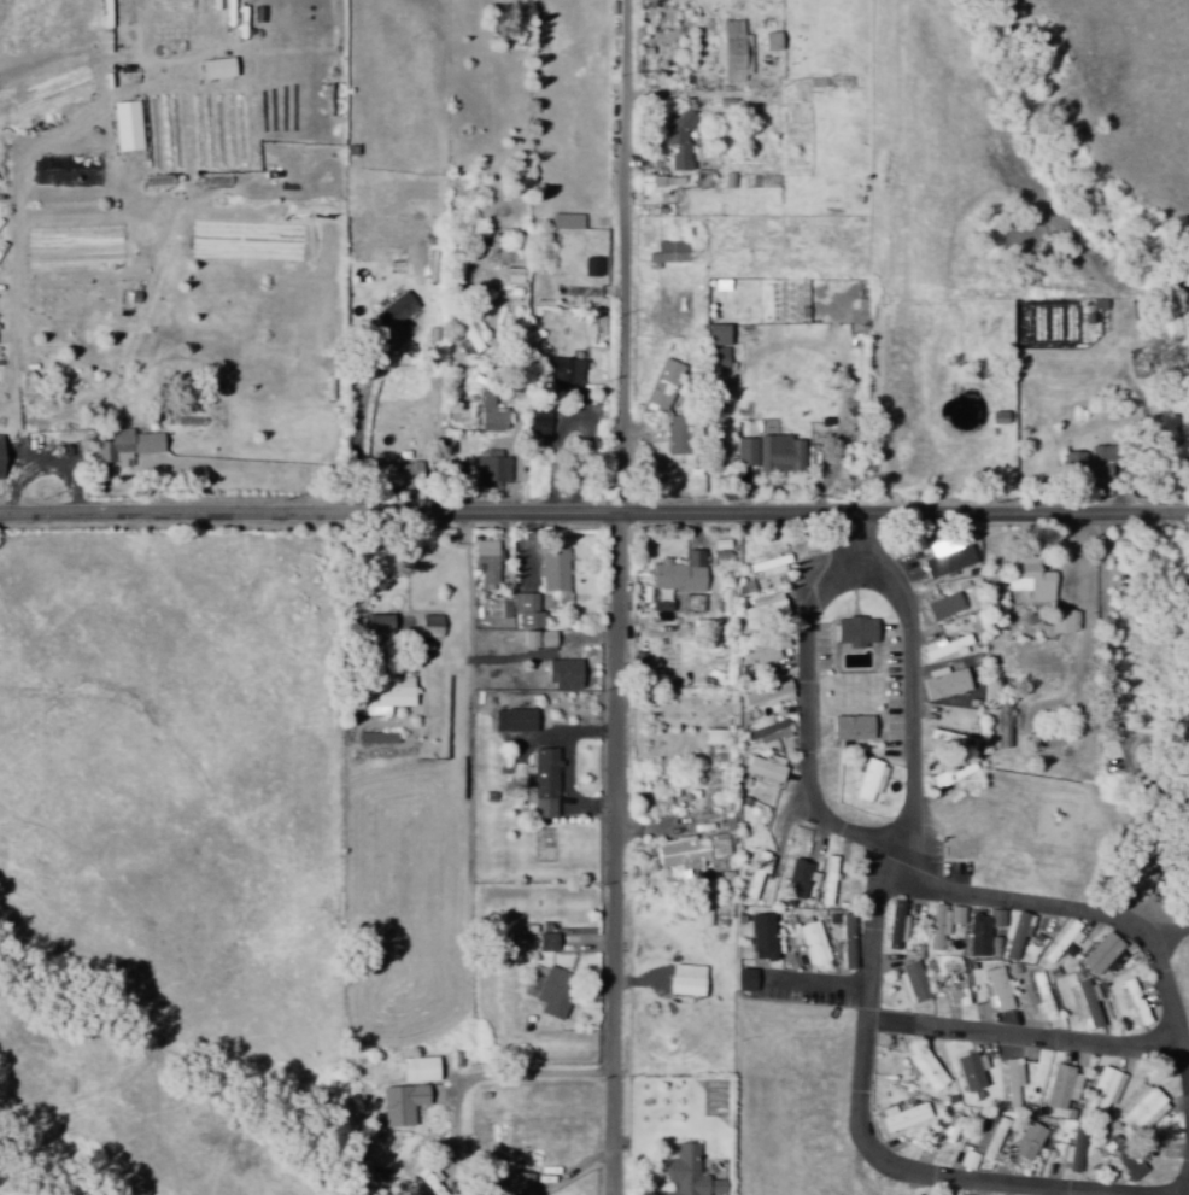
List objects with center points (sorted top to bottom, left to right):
building: (768, 41)
building: (732, 52)
building: (212, 69)
building: (675, 139)
building: (564, 221)
building: (667, 253)
road: (626, 258)
building: (590, 266)
building: (391, 311)
building: (464, 339)
building: (717, 348)
building: (563, 376)
building: (660, 386)
building: (490, 414)
building: (538, 422)
building: (674, 435)
building: (124, 446)
building: (768, 453)
building: (1071, 465)
building: (492, 471)
road: (593, 516)
road: (866, 539)
building: (944, 558)
building: (484, 561)
building: (768, 567)
building: (551, 569)
building: (676, 573)
building: (1025, 582)
building: (692, 603)
building: (661, 605)
road: (362, 607)
building: (941, 607)
building: (498, 608)
building: (525, 610)
building: (762, 611)
building: (374, 622)
building: (1060, 622)
building: (428, 627)
building: (853, 632)
building: (534, 639)
road: (1109, 645)
building: (943, 648)
building: (561, 674)
building: (941, 684)
building: (383, 695)
building: (763, 695)
building: (511, 720)
building: (848, 728)
building: (765, 733)
building: (713, 737)
building: (376, 738)
building: (949, 739)
building: (761, 771)
building: (867, 780)
building: (541, 784)
road: (869, 839)
building: (693, 850)
road: (621, 855)
building: (755, 874)
building: (798, 879)
building: (827, 880)
road: (1090, 912)
building: (895, 926)
building: (935, 926)
building: (979, 932)
building: (1015, 935)
building: (758, 938)
building: (1060, 942)
building: (545, 943)
building: (812, 943)
building: (847, 943)
building: (1100, 955)
road: (830, 976)
building: (683, 980)
building: (743, 980)
building: (957, 990)
building: (996, 990)
building: (552, 994)
building: (1038, 997)
building: (1085, 1004)
building: (1131, 1004)
road: (1030, 1036)
building: (925, 1070)
building: (415, 1071)
building: (970, 1073)
building: (1011, 1082)
building: (1059, 1088)
building: (1101, 1091)
building: (399, 1105)
road: (867, 1114)
building: (901, 1117)
building: (1026, 1142)
building: (1071, 1154)
building: (1120, 1165)
building: (686, 1175)
building: (520, 1184)

